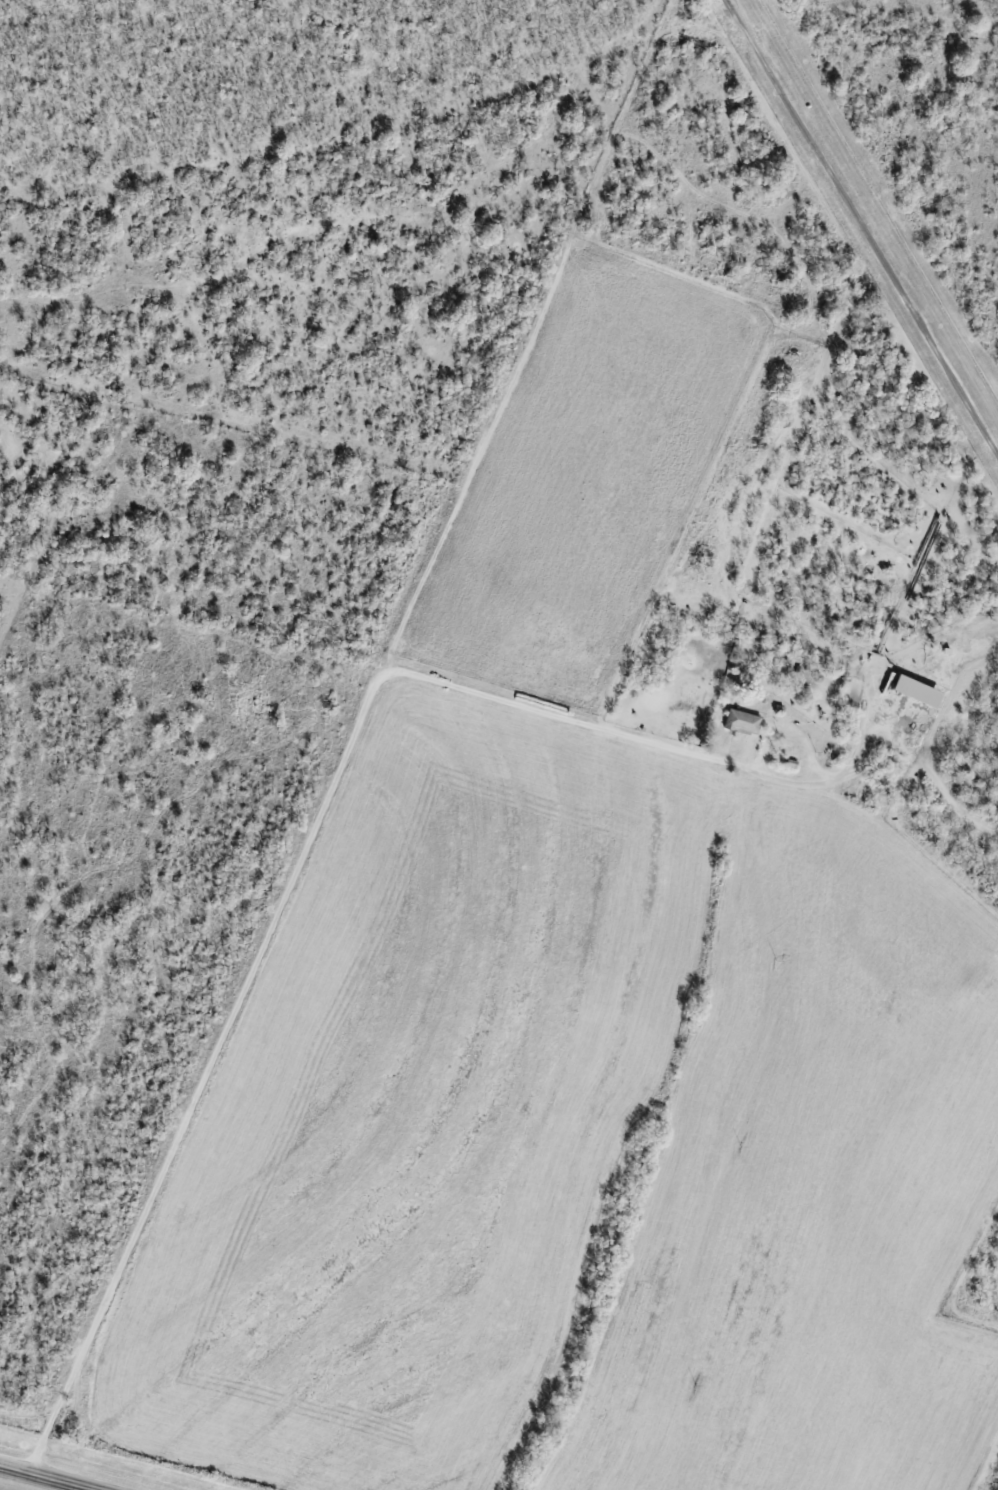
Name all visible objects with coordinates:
road: (859, 233)
building: (913, 691)
building: (741, 722)
road: (288, 908)
road: (33, 1480)

